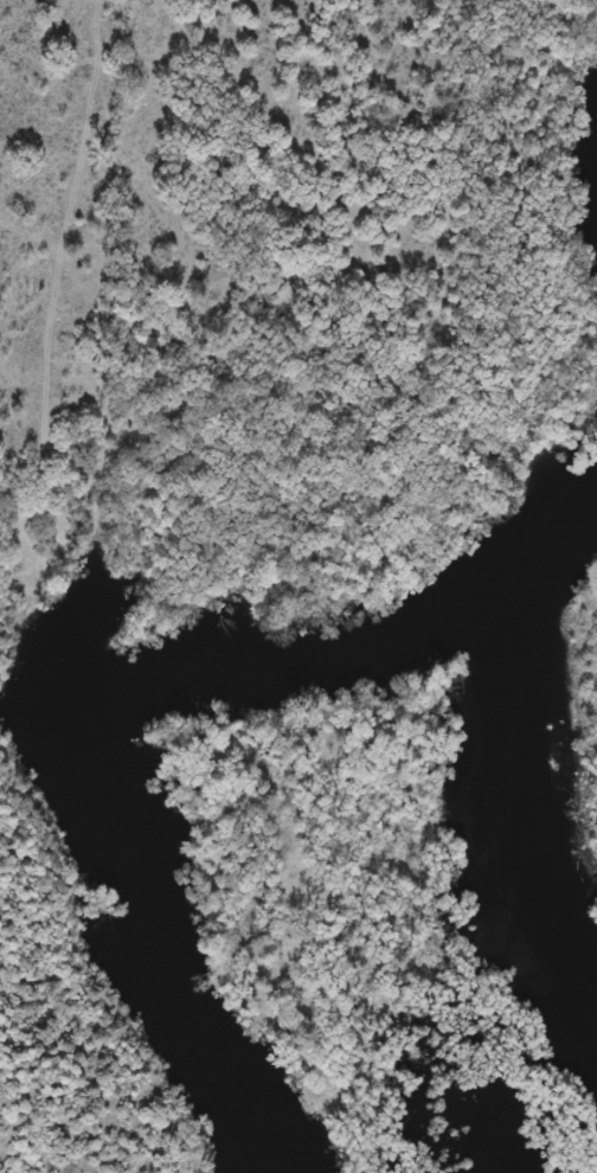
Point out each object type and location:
river: (97, 688)

